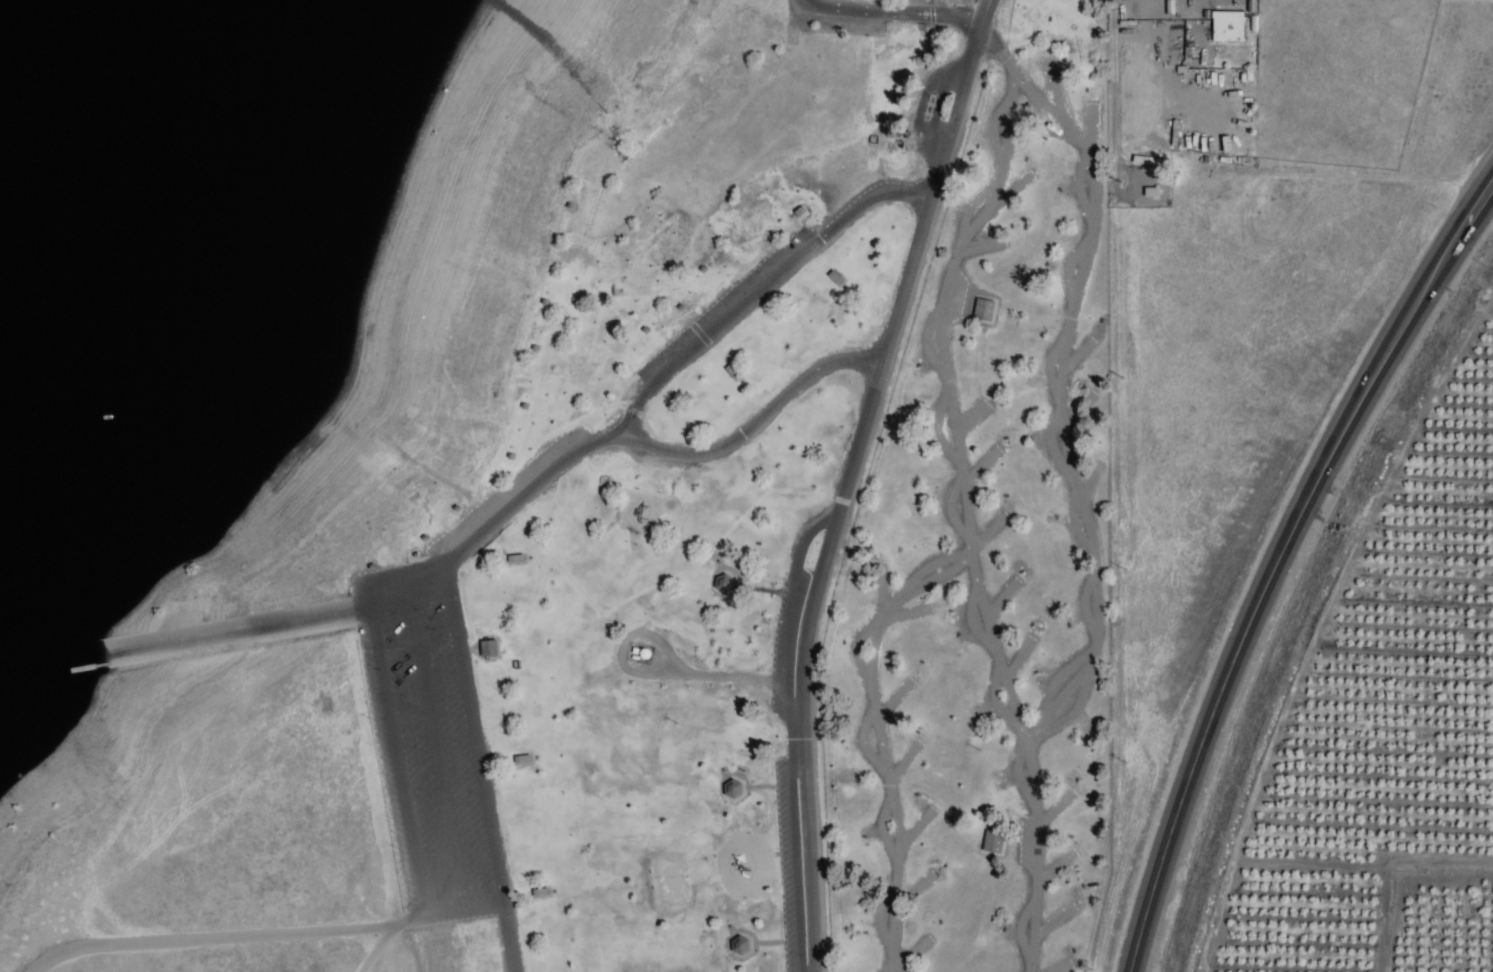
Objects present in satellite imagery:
building: (1227, 26)
building: (592, 282)
road: (763, 285)
building: (982, 310)
road: (759, 417)
building: (1053, 451)
road: (851, 479)
building: (632, 513)
road: (1273, 555)
building: (722, 584)
building: (486, 649)
road: (462, 653)
crop: (1362, 678)
building: (991, 843)
building: (538, 892)

